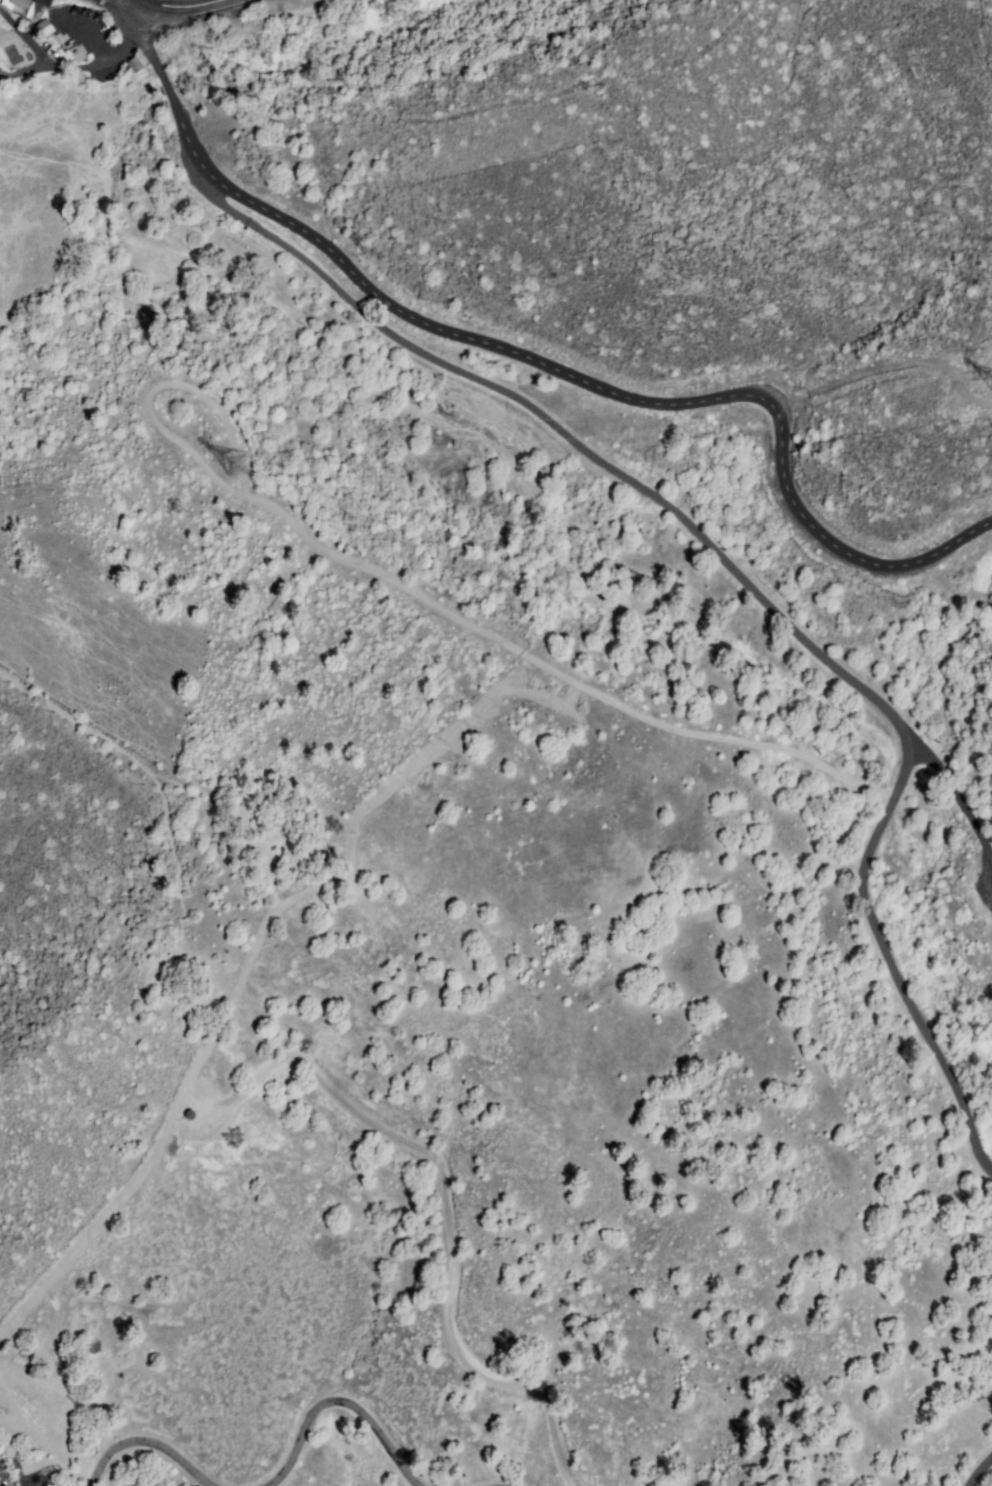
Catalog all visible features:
building: (4, 1)
building: (25, 5)
road: (173, 5)
road: (122, 9)
building: (45, 28)
road: (82, 43)
road: (91, 62)
road: (537, 356)
power tower: (985, 380)
road: (557, 422)
power tower: (222, 463)
road: (956, 791)
road: (886, 956)
road: (342, 1408)
road: (150, 1447)
road: (981, 1474)

